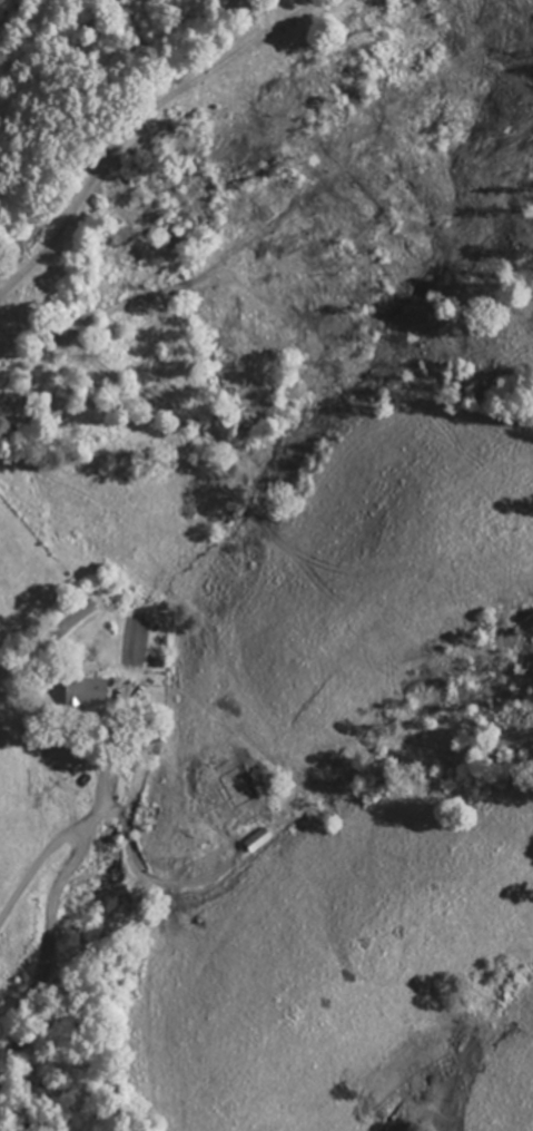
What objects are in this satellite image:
building: (86, 694)
building: (240, 796)
building: (257, 842)
road: (52, 897)
road: (6, 916)

